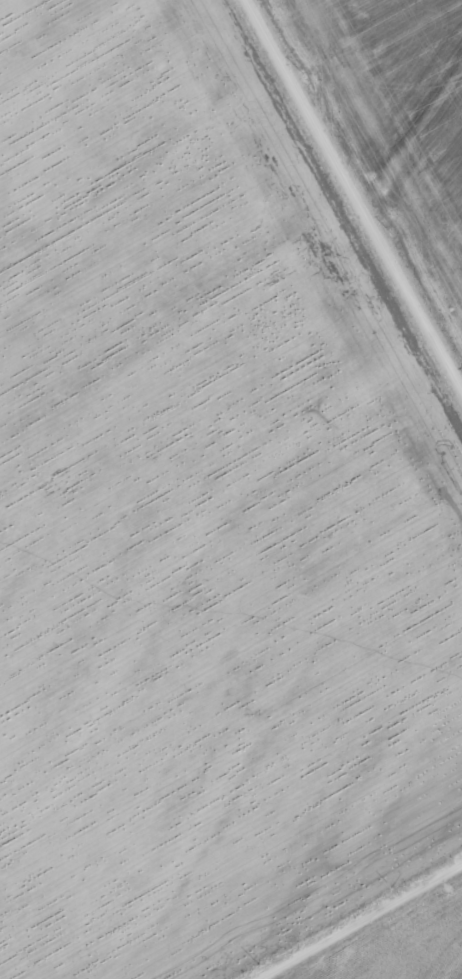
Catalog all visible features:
road: (352, 198)
road: (361, 923)

